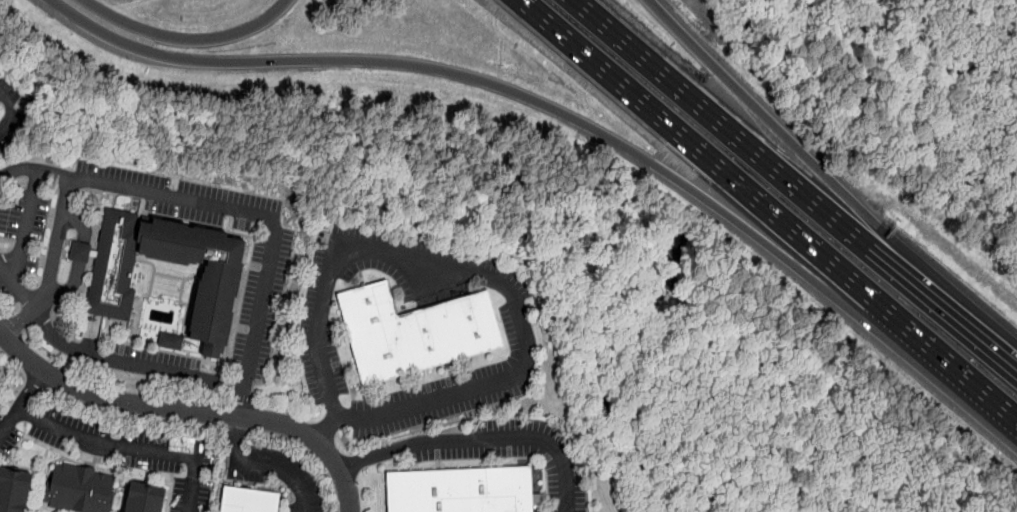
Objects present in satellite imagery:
road: (20, 108)
road: (555, 110)
parking lot: (14, 112)
road: (786, 178)
road: (820, 179)
parking lot: (0, 192)
road: (751, 202)
road: (63, 208)
road: (255, 212)
road: (26, 225)
parking lot: (21, 240)
road: (79, 259)
parking lot: (273, 270)
building: (112, 277)
road: (485, 277)
road: (17, 289)
road: (19, 321)
parking lot: (321, 330)
building: (416, 331)
parking lot: (521, 339)
parking lot: (156, 363)
road: (1007, 365)
road: (220, 380)
road: (20, 401)
road: (189, 410)
road: (1004, 414)
road: (480, 437)
road: (130, 447)
parking lot: (117, 448)
parking lot: (516, 453)
parking lot: (278, 475)
building: (81, 488)
building: (13, 489)
building: (462, 489)
building: (145, 497)
building: (249, 500)

